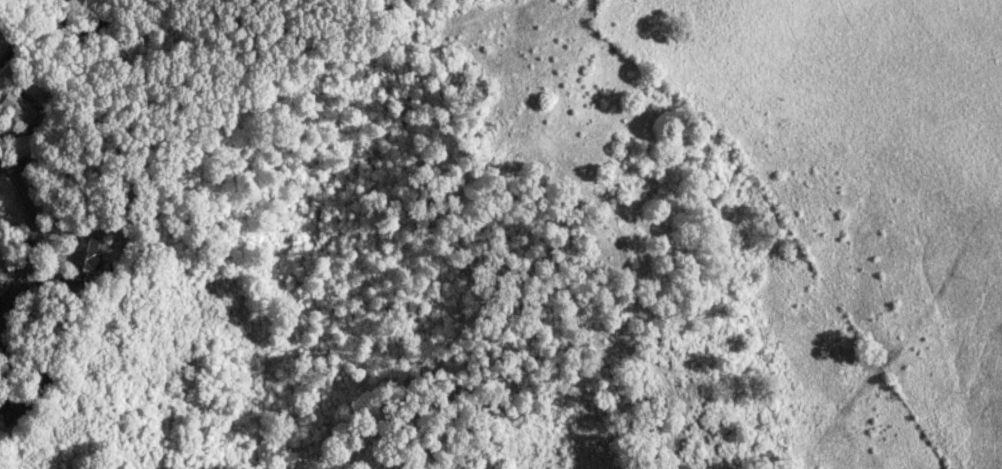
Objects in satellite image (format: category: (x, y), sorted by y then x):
road: (77, 26)
building: (17, 108)
road: (23, 245)
building: (85, 253)

